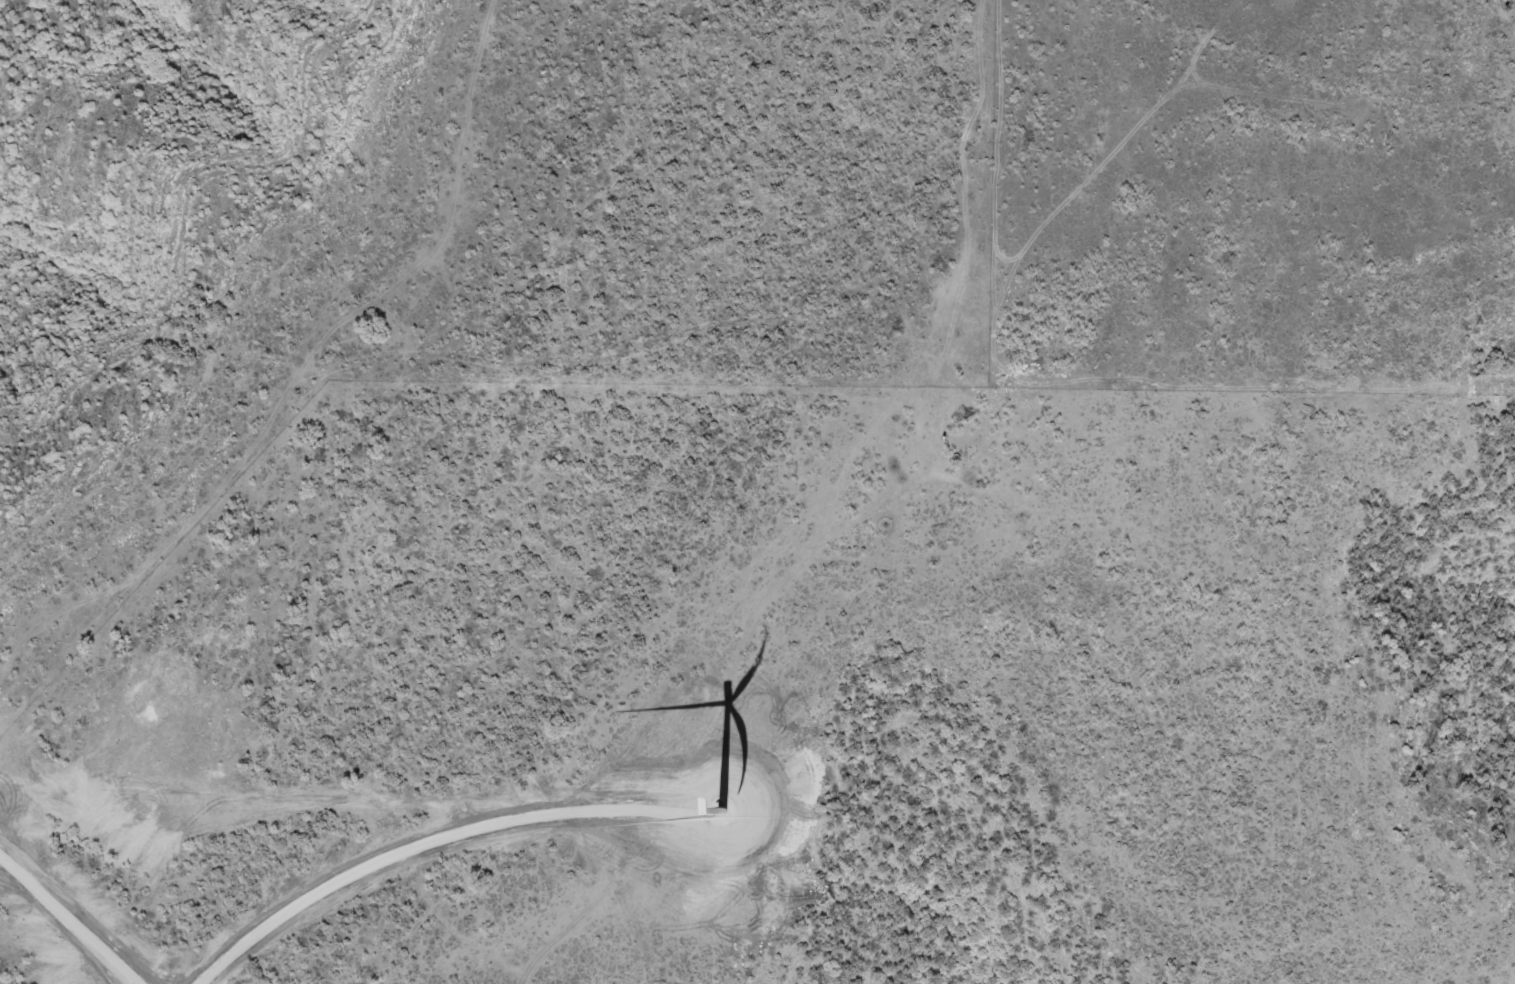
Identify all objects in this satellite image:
road: (746, 719)
wind turbine: (728, 807)

